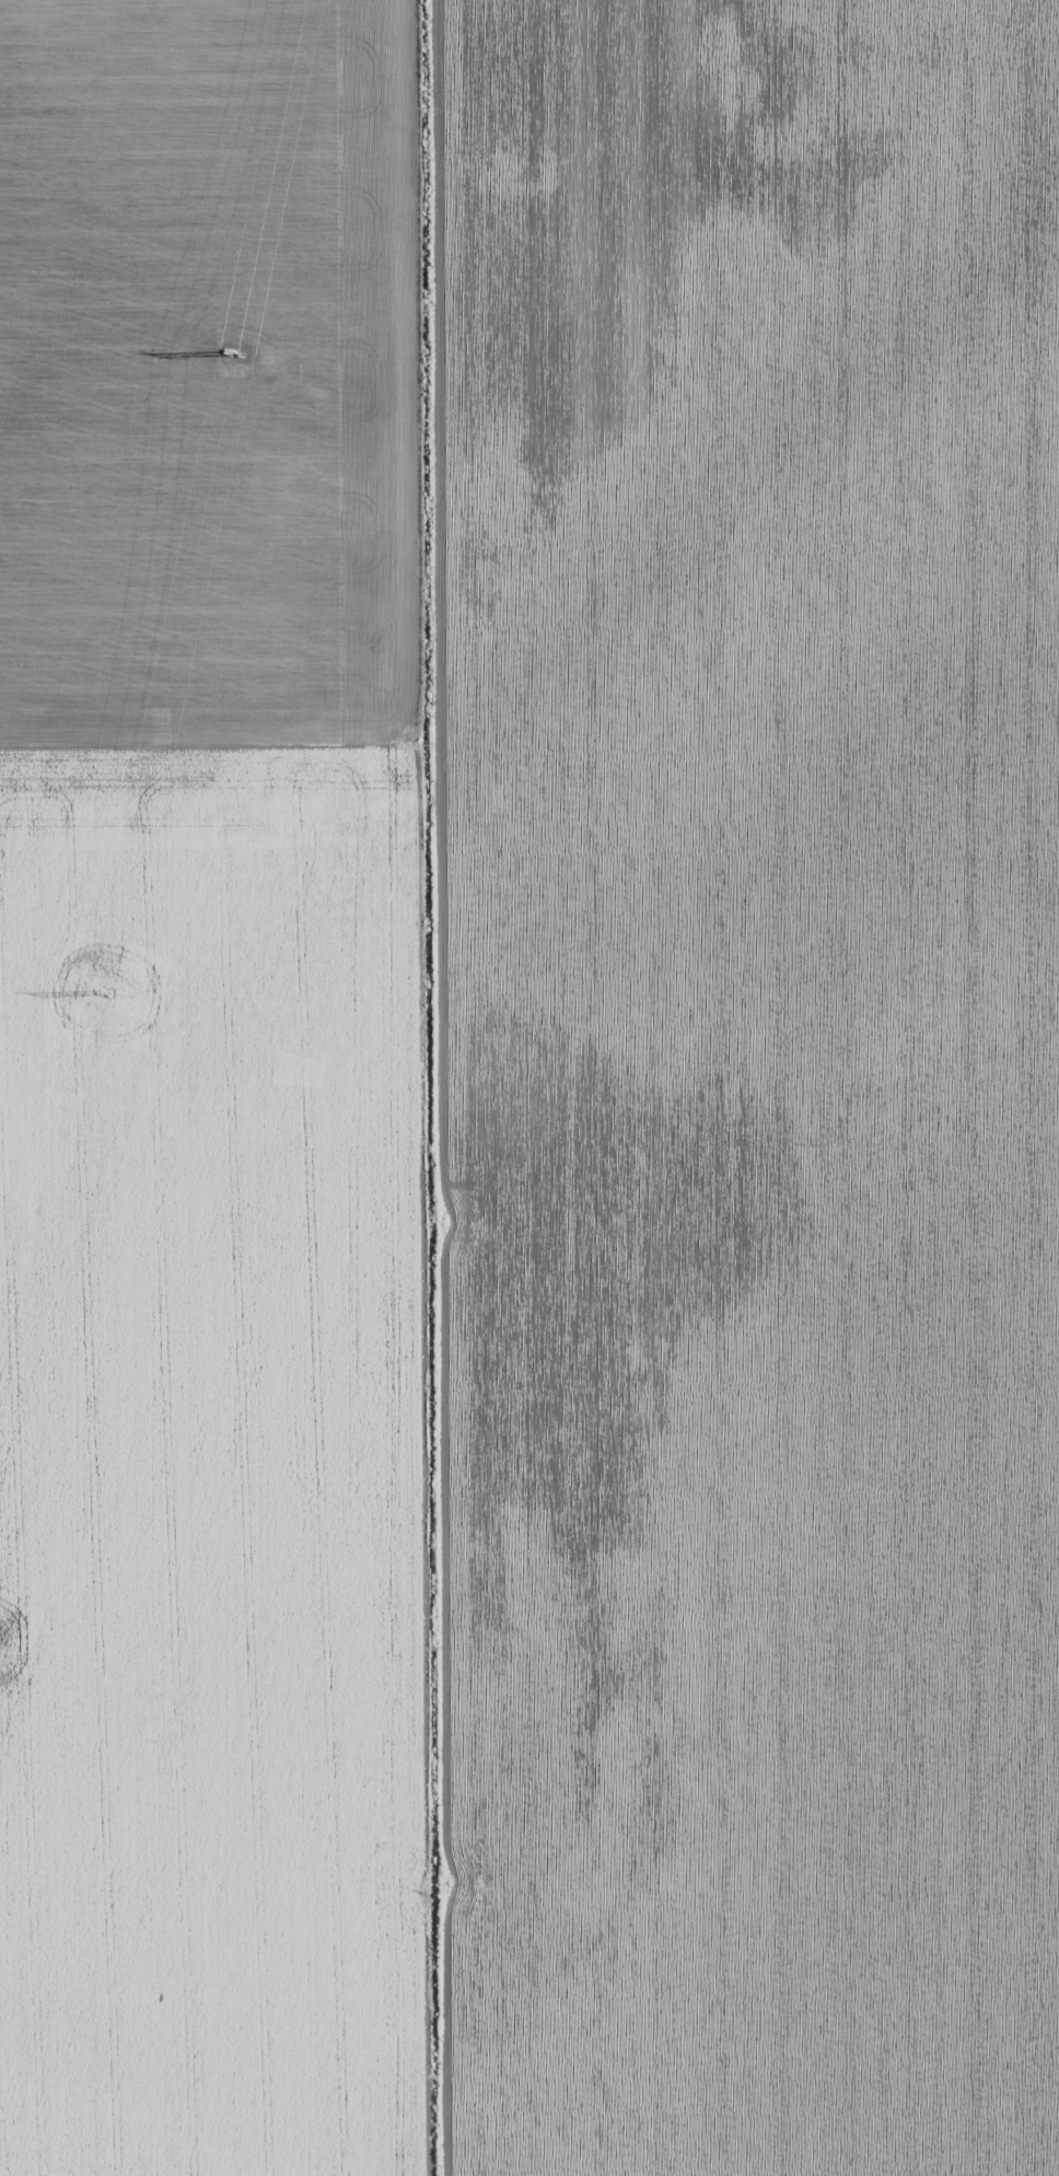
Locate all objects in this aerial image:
power tower: (232, 351)
power tower: (107, 988)

